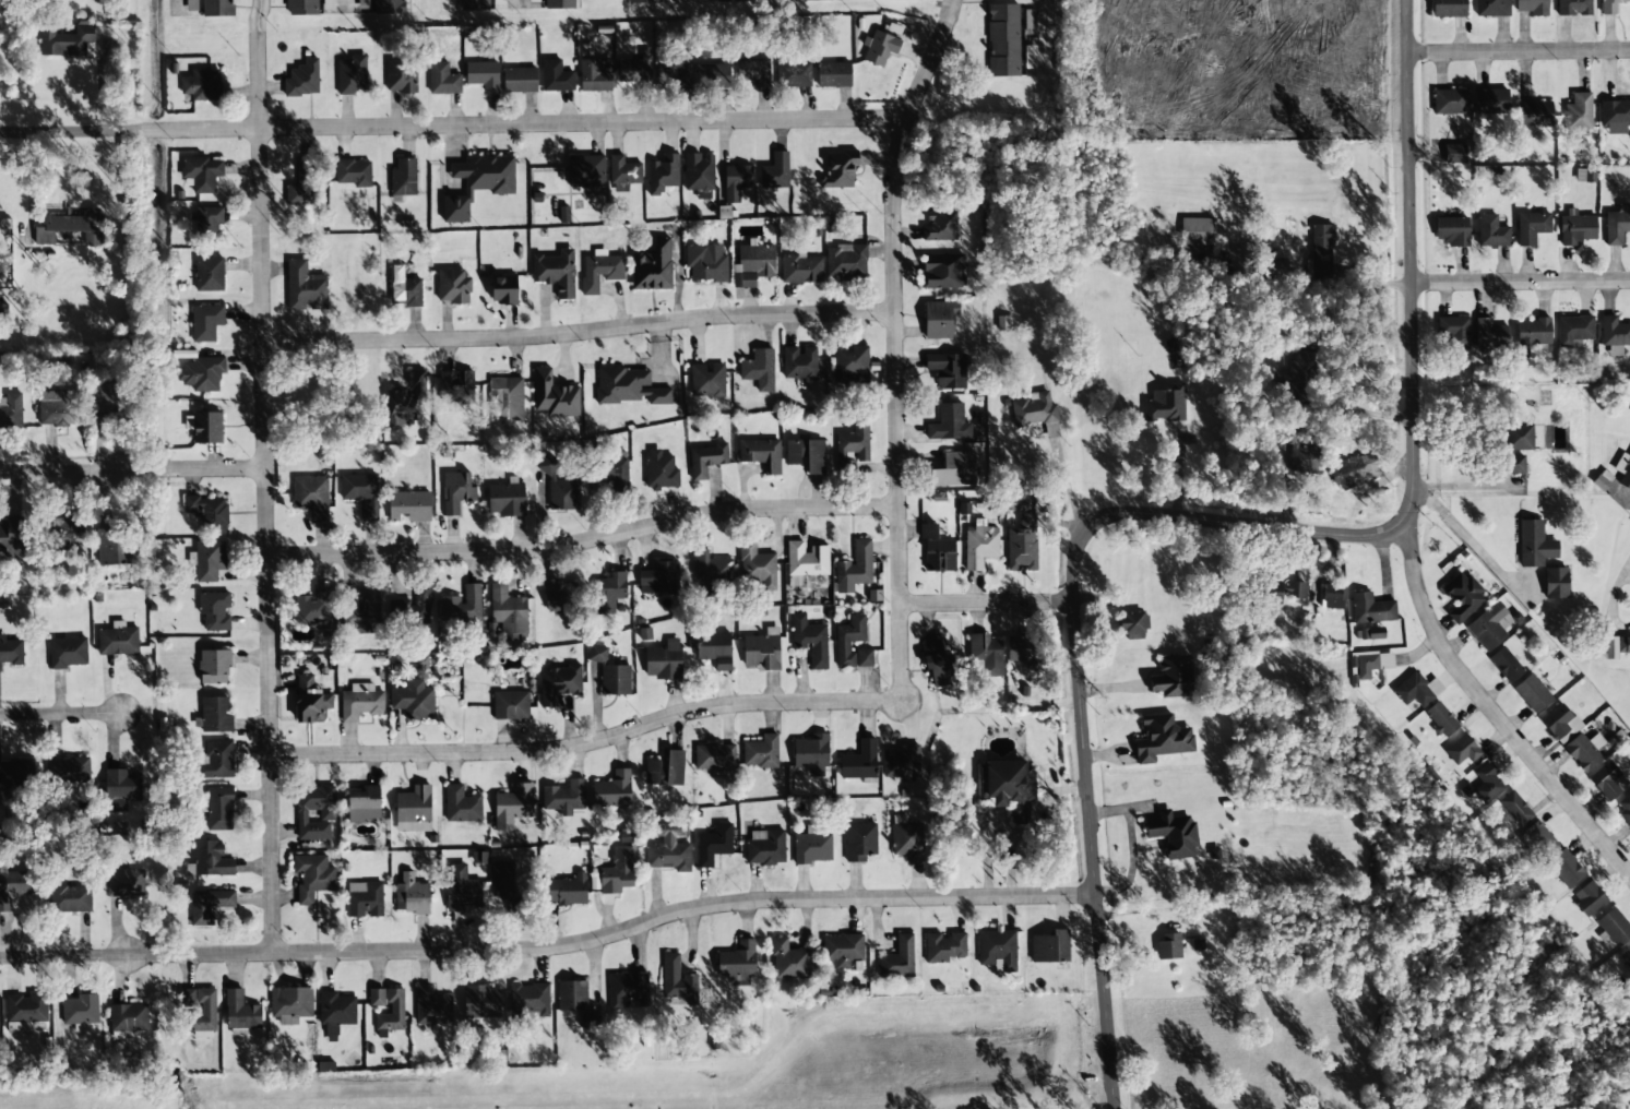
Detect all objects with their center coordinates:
building: (804, 0)
building: (643, 1)
road: (517, 3)
road: (346, 4)
building: (471, 4)
building: (560, 4)
building: (191, 5)
building: (299, 7)
building: (388, 7)
building: (1533, 7)
building: (1609, 7)
road: (179, 8)
building: (216, 8)
building: (1449, 8)
building: (1492, 8)
building: (1573, 8)
road: (1052, 37)
building: (1003, 39)
building: (66, 40)
building: (880, 48)
road: (1520, 51)
building: (754, 71)
building: (635, 72)
building: (350, 74)
building: (793, 74)
building: (833, 74)
building: (481, 75)
building: (595, 75)
building: (712, 75)
building: (556, 76)
building: (674, 76)
building: (301, 77)
building: (401, 79)
building: (441, 79)
building: (520, 80)
building: (199, 84)
building: (1490, 100)
building: (1450, 102)
building: (1534, 114)
building: (1579, 115)
building: (1615, 116)
road: (455, 126)
building: (1455, 153)
building: (841, 168)
building: (586, 170)
building: (776, 171)
building: (352, 172)
building: (623, 174)
building: (663, 174)
building: (204, 175)
building: (699, 175)
building: (1585, 175)
building: (402, 177)
building: (736, 181)
building: (476, 182)
building: (304, 186)
building: (207, 224)
building: (940, 226)
building: (72, 227)
building: (1532, 227)
building: (1577, 228)
building: (1452, 230)
building: (1197, 235)
building: (1494, 236)
building: (1321, 250)
building: (846, 260)
building: (706, 263)
building: (753, 264)
road: (1412, 264)
building: (653, 267)
building: (801, 270)
building: (942, 271)
building: (556, 272)
building: (600, 272)
building: (209, 273)
road: (1521, 281)
building: (452, 285)
building: (304, 287)
building: (402, 288)
building: (503, 289)
building: (939, 319)
building: (206, 322)
building: (1574, 329)
road: (580, 331)
building: (1490, 332)
building: (1455, 333)
building: (1532, 334)
building: (1614, 335)
road: (895, 345)
building: (799, 362)
building: (852, 366)
building: (759, 369)
building: (1297, 369)
building: (948, 370)
building: (202, 373)
building: (707, 380)
building: (629, 386)
building: (454, 393)
building: (555, 395)
building: (106, 397)
building: (505, 398)
building: (406, 403)
building: (1165, 404)
building: (58, 408)
building: (1033, 409)
building: (11, 410)
building: (949, 424)
building: (209, 429)
building: (855, 442)
building: (1515, 446)
building: (761, 454)
building: (806, 455)
building: (706, 460)
building: (615, 469)
building: (1623, 469)
road: (133, 470)
building: (661, 470)
building: (954, 470)
building: (1353, 472)
road: (266, 476)
building: (560, 487)
building: (455, 491)
building: (361, 493)
building: (312, 497)
building: (1016, 502)
building: (409, 506)
building: (209, 512)
building: (66, 528)
building: (15, 536)
road: (584, 539)
building: (1022, 544)
building: (980, 545)
building: (1534, 545)
building: (116, 547)
building: (937, 549)
building: (807, 559)
building: (210, 560)
building: (758, 565)
building: (710, 569)
building: (659, 579)
building: (1556, 583)
building: (1287, 591)
building: (610, 592)
building: (559, 594)
building: (1332, 596)
building: (1463, 597)
road: (988, 601)
building: (461, 605)
building: (312, 607)
building: (413, 607)
building: (1371, 609)
building: (361, 610)
building: (213, 611)
building: (507, 615)
building: (1133, 625)
building: (1490, 627)
building: (1372, 633)
building: (849, 640)
building: (117, 641)
building: (810, 641)
building: (1616, 646)
building: (715, 648)
building: (1023, 648)
building: (10, 649)
building: (762, 649)
building: (67, 652)
building: (986, 653)
building: (597, 654)
road: (1079, 654)
building: (864, 657)
building: (664, 660)
building: (1369, 663)
building: (938, 665)
building: (1506, 665)
building: (212, 666)
building: (1171, 677)
building: (615, 680)
building: (559, 683)
building: (1417, 690)
building: (1533, 693)
building: (412, 699)
building: (359, 703)
building: (311, 705)
building: (510, 705)
road: (1496, 713)
building: (214, 714)
road: (62, 715)
building: (1441, 719)
building: (1561, 723)
building: (1162, 739)
road: (587, 740)
building: (1462, 750)
building: (811, 751)
building: (1583, 751)
building: (761, 752)
building: (714, 756)
building: (214, 759)
building: (859, 761)
building: (901, 761)
building: (666, 768)
building: (67, 772)
building: (16, 774)
building: (1608, 780)
building: (1487, 784)
building: (1006, 785)
building: (120, 787)
building: (612, 790)
building: (564, 797)
building: (361, 803)
building: (412, 804)
building: (460, 804)
building: (513, 806)
building: (218, 808)
building: (312, 808)
building: (1515, 808)
building: (1623, 808)
building: (1173, 833)
building: (906, 838)
building: (859, 842)
building: (714, 844)
building: (812, 846)
building: (765, 847)
building: (668, 849)
building: (1552, 855)
building: (210, 858)
building: (617, 871)
building: (311, 875)
building: (123, 882)
building: (503, 882)
building: (12, 886)
building: (566, 891)
building: (409, 894)
building: (462, 894)
building: (1589, 897)
building: (68, 898)
building: (364, 898)
building: (207, 904)
building: (1615, 927)
building: (1169, 946)
road: (551, 947)
building: (944, 947)
building: (997, 947)
building: (1050, 947)
building: (842, 950)
building: (1626, 956)
building: (899, 958)
building: (738, 961)
building: (788, 961)
building: (678, 979)
building: (627, 989)
building: (572, 995)
building: (376, 998)
building: (530, 1000)
building: (479, 1001)
building: (290, 1004)
building: (431, 1006)
building: (25, 1007)
building: (336, 1009)
building: (79, 1010)
building: (206, 1011)
building: (240, 1011)
building: (390, 1013)
building: (128, 1017)
building: (590, 1021)
building: (19, 1027)

